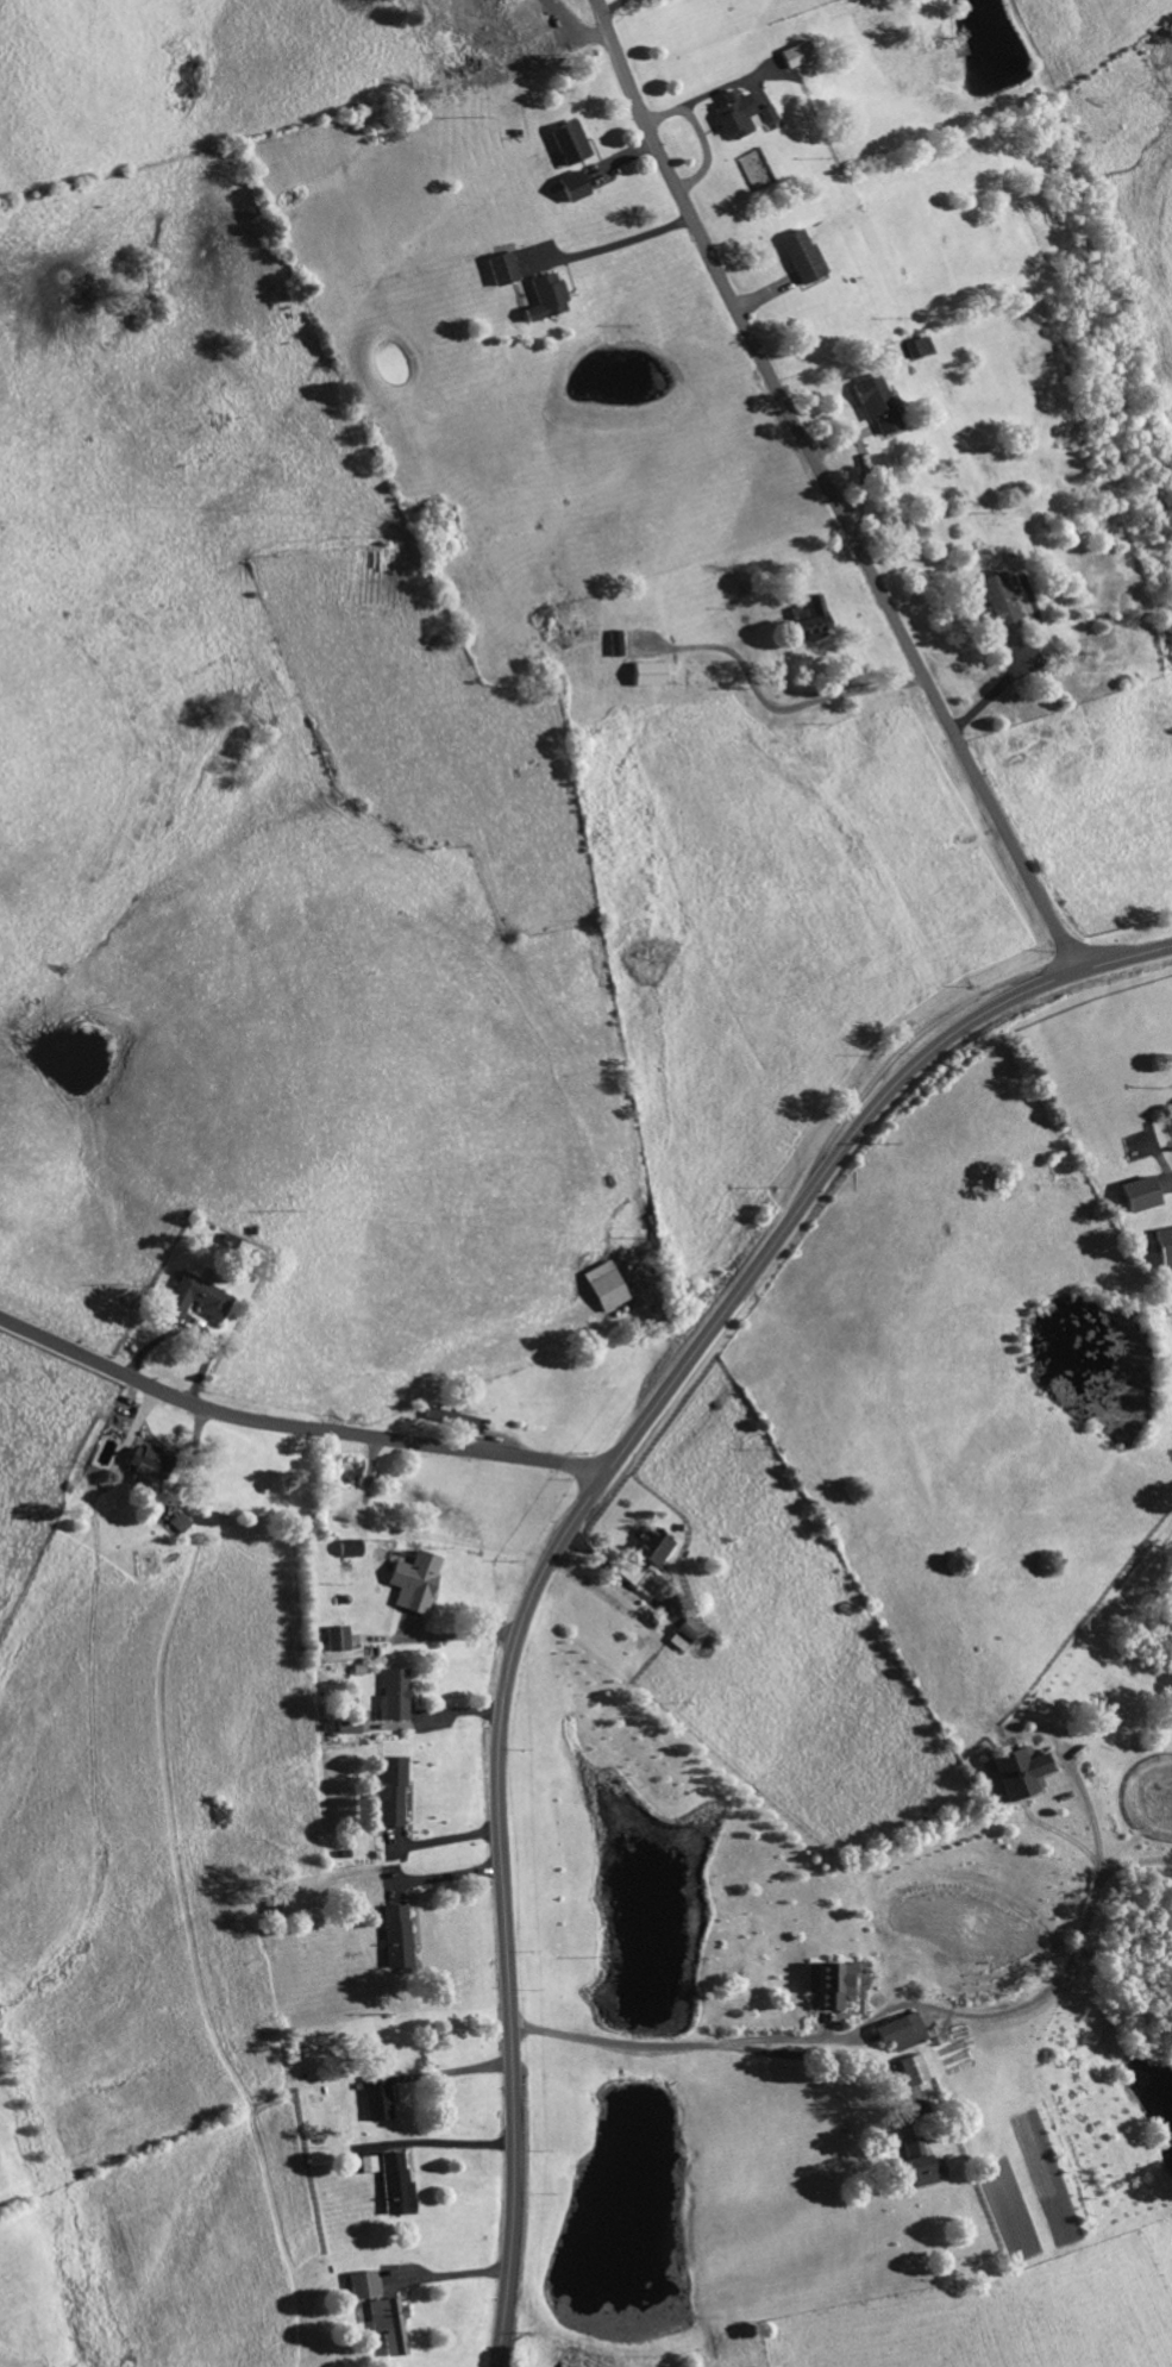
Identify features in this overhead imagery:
road: (613, 7)
building: (795, 56)
building: (734, 115)
building: (767, 119)
building: (569, 143)
building: (572, 187)
road: (614, 245)
building: (800, 257)
building: (500, 270)
building: (545, 299)
building: (917, 347)
building: (876, 405)
road: (833, 487)
building: (997, 600)
building: (808, 620)
building: (647, 676)
road: (1002, 684)
building: (1137, 1196)
building: (1164, 1251)
building: (604, 1289)
building: (193, 1302)
building: (449, 1420)
road: (294, 1426)
building: (148, 1465)
road: (572, 1522)
building: (180, 1524)
building: (650, 1549)
building: (412, 1583)
building: (685, 1635)
building: (337, 1641)
building: (391, 1697)
building: (347, 1728)
building: (1014, 1774)
building: (389, 1793)
road: (445, 1845)
road: (445, 1880)
building: (395, 1936)
building: (831, 1984)
building: (901, 2033)
road: (670, 2049)
building: (913, 2071)
road: (455, 2074)
building: (907, 2090)
building: (376, 2099)
building: (366, 2165)
building: (921, 2165)
building: (394, 2185)
building: (362, 2286)
building: (388, 2325)

